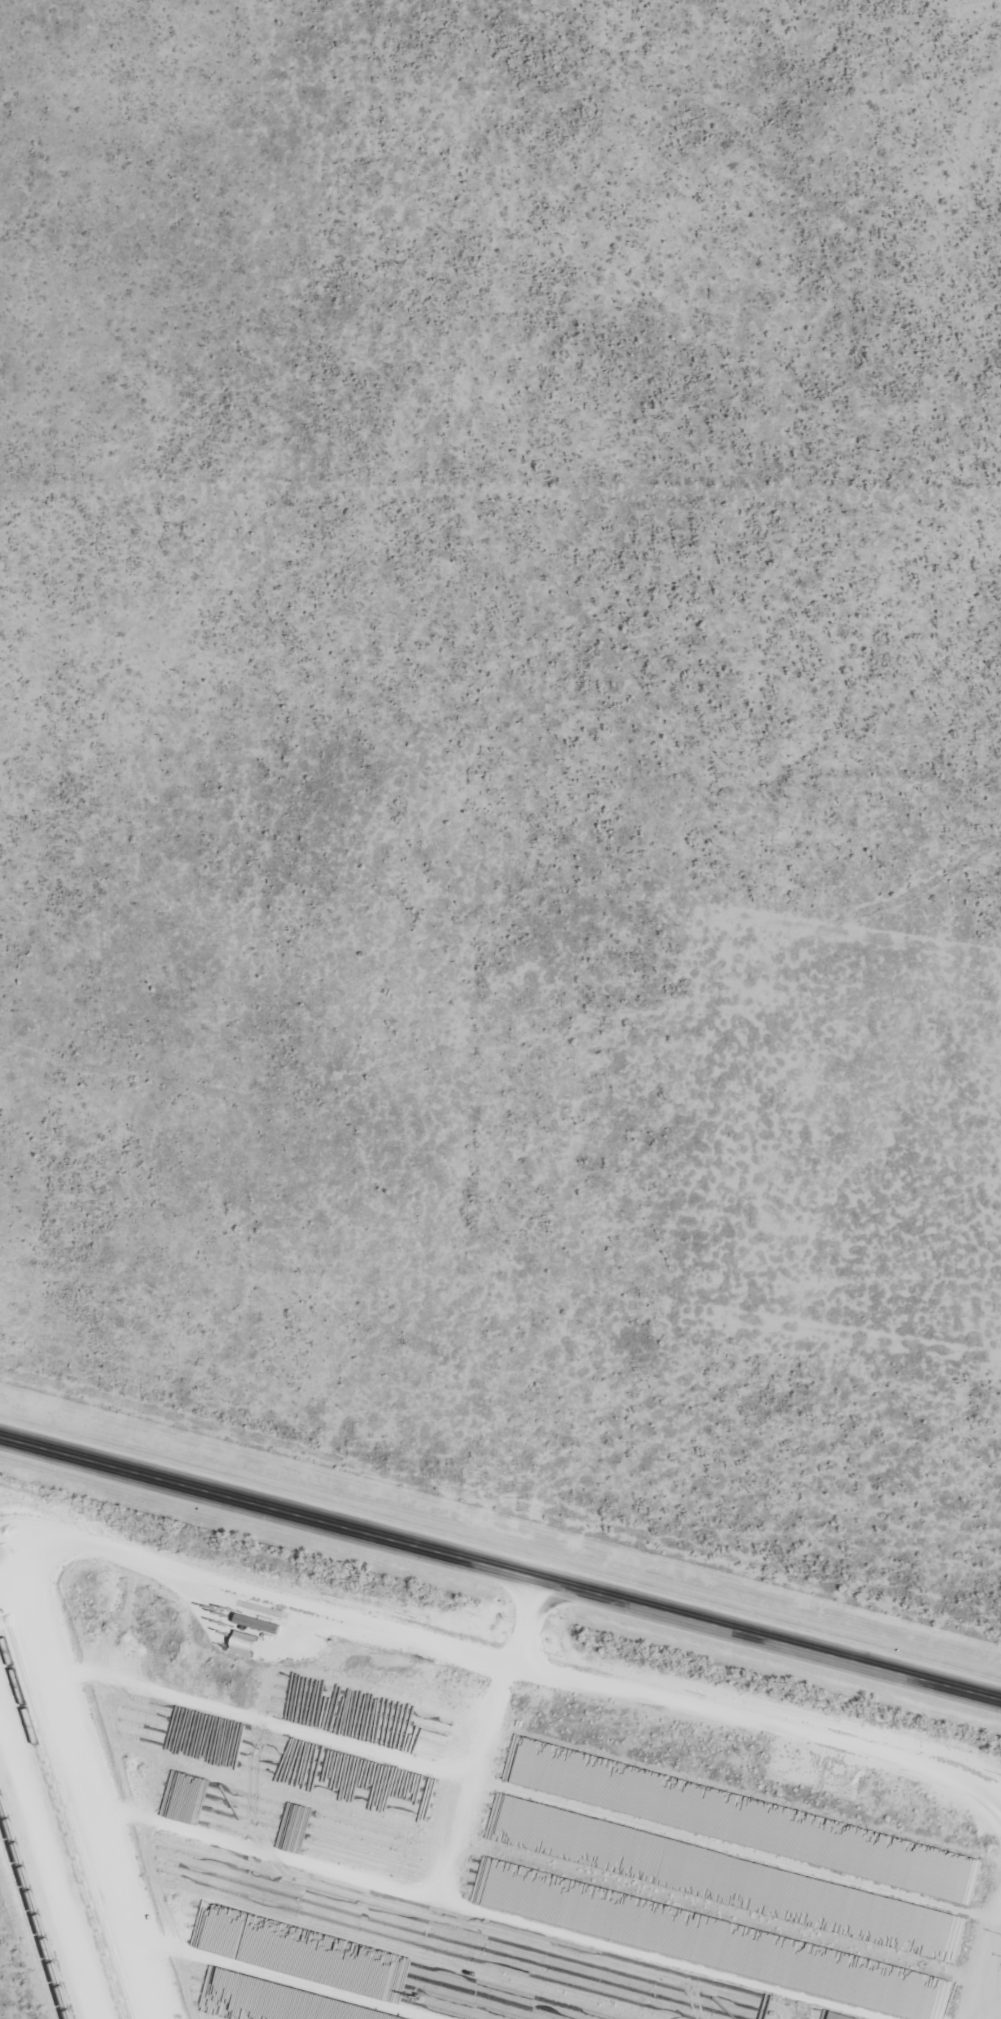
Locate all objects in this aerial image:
airport: (845, 1129)
road: (501, 1570)
building: (245, 1644)

